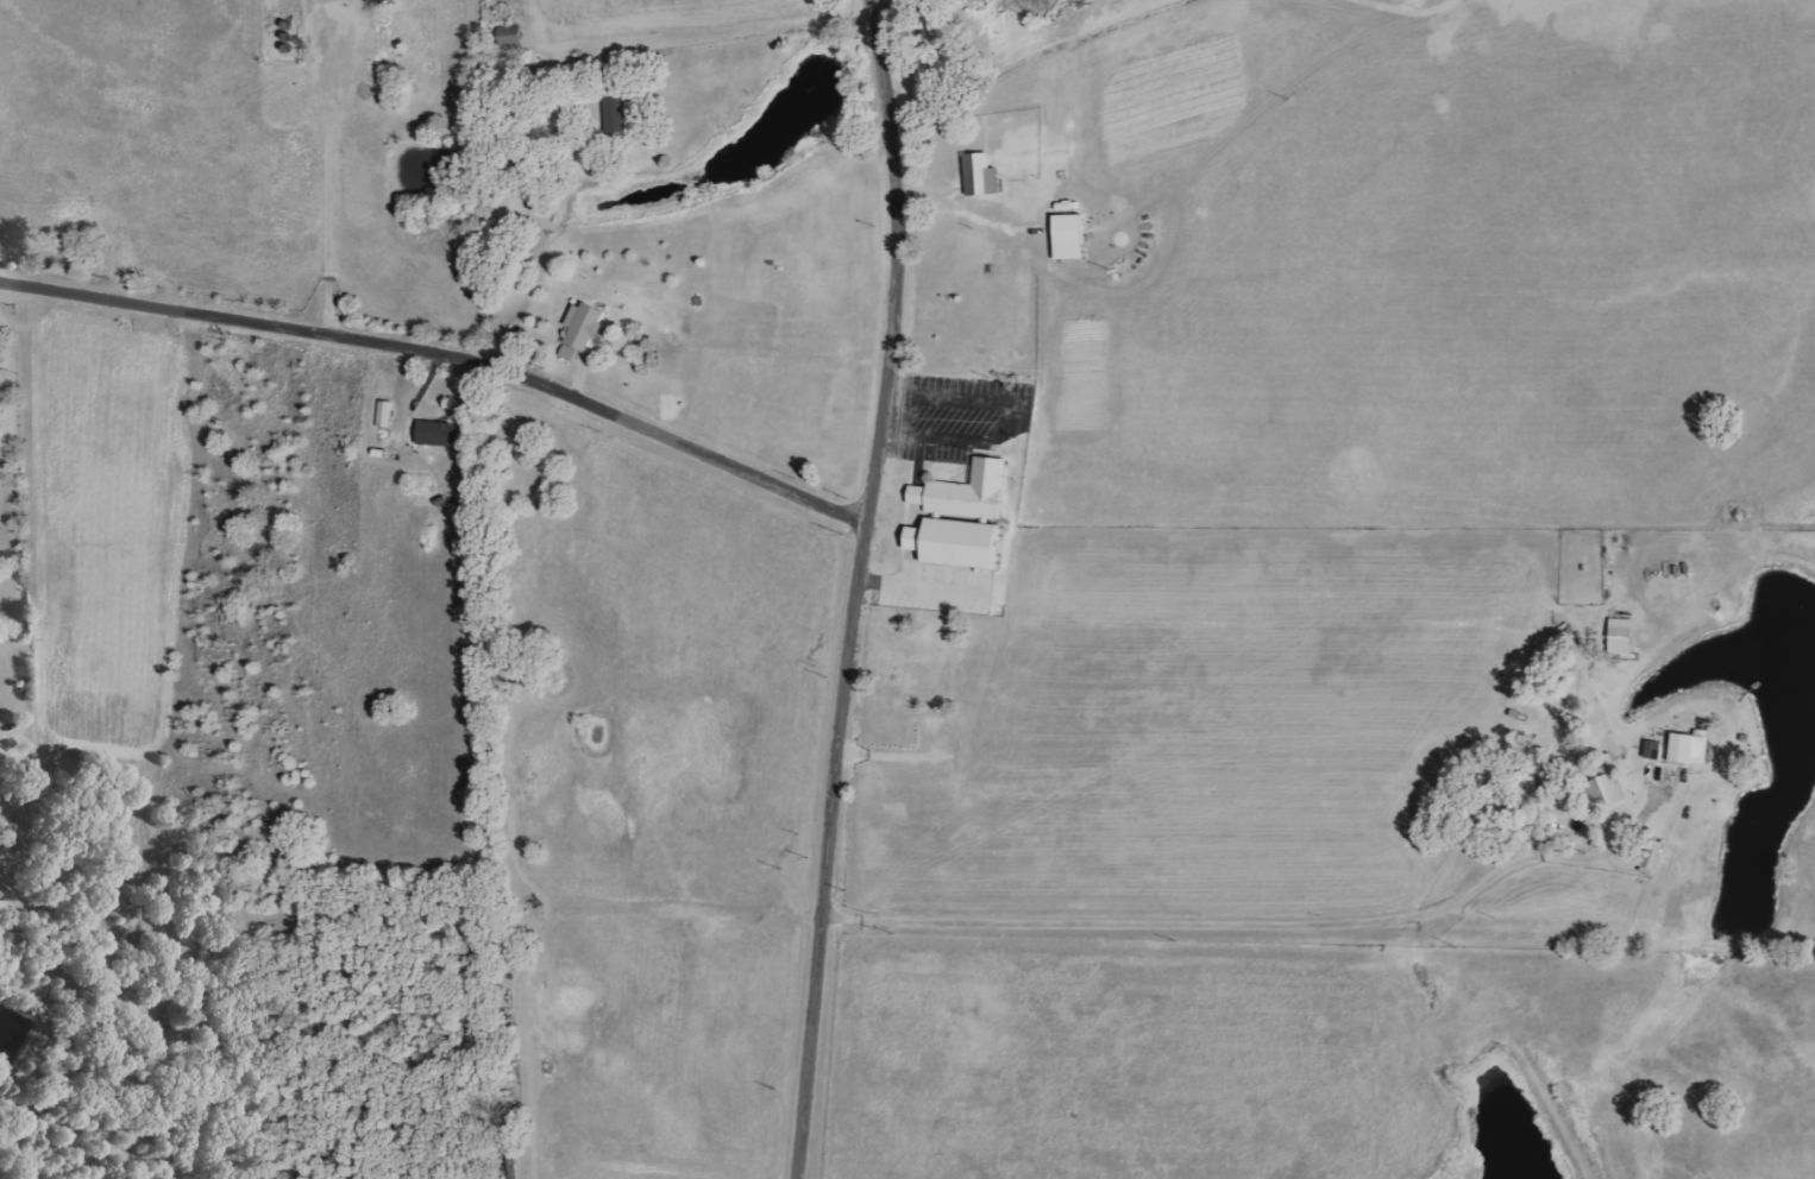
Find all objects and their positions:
road: (1408, 11)
building: (514, 34)
road: (752, 36)
road: (1042, 58)
road: (319, 92)
building: (618, 114)
building: (982, 174)
building: (1073, 237)
building: (584, 329)
road: (446, 349)
building: (0, 383)
road: (1019, 418)
building: (442, 433)
road: (922, 462)
building: (969, 492)
road: (918, 493)
road: (917, 513)
road: (915, 537)
building: (959, 542)
road: (893, 578)
road: (855, 588)
building: (1624, 636)
building: (1685, 748)
building: (1606, 792)
building: (1656, 857)
road: (1260, 923)

